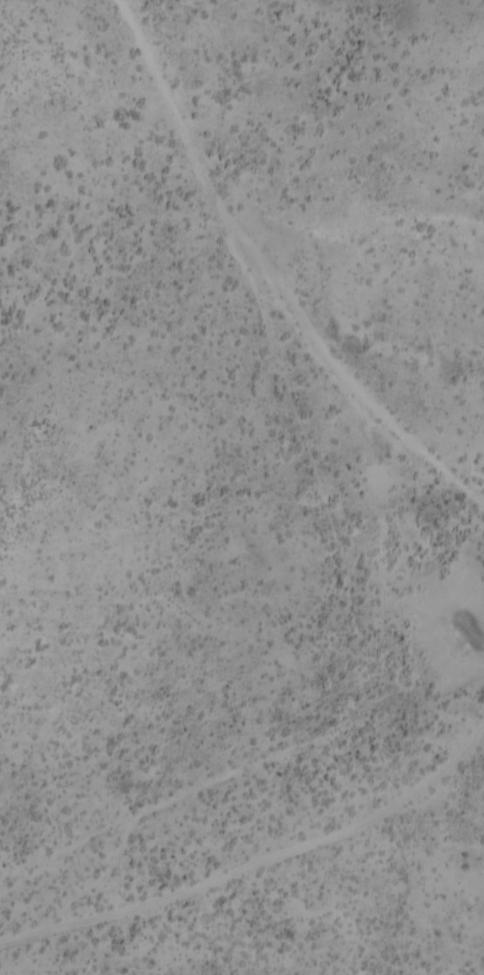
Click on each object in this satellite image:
road: (256, 369)
road: (238, 792)

